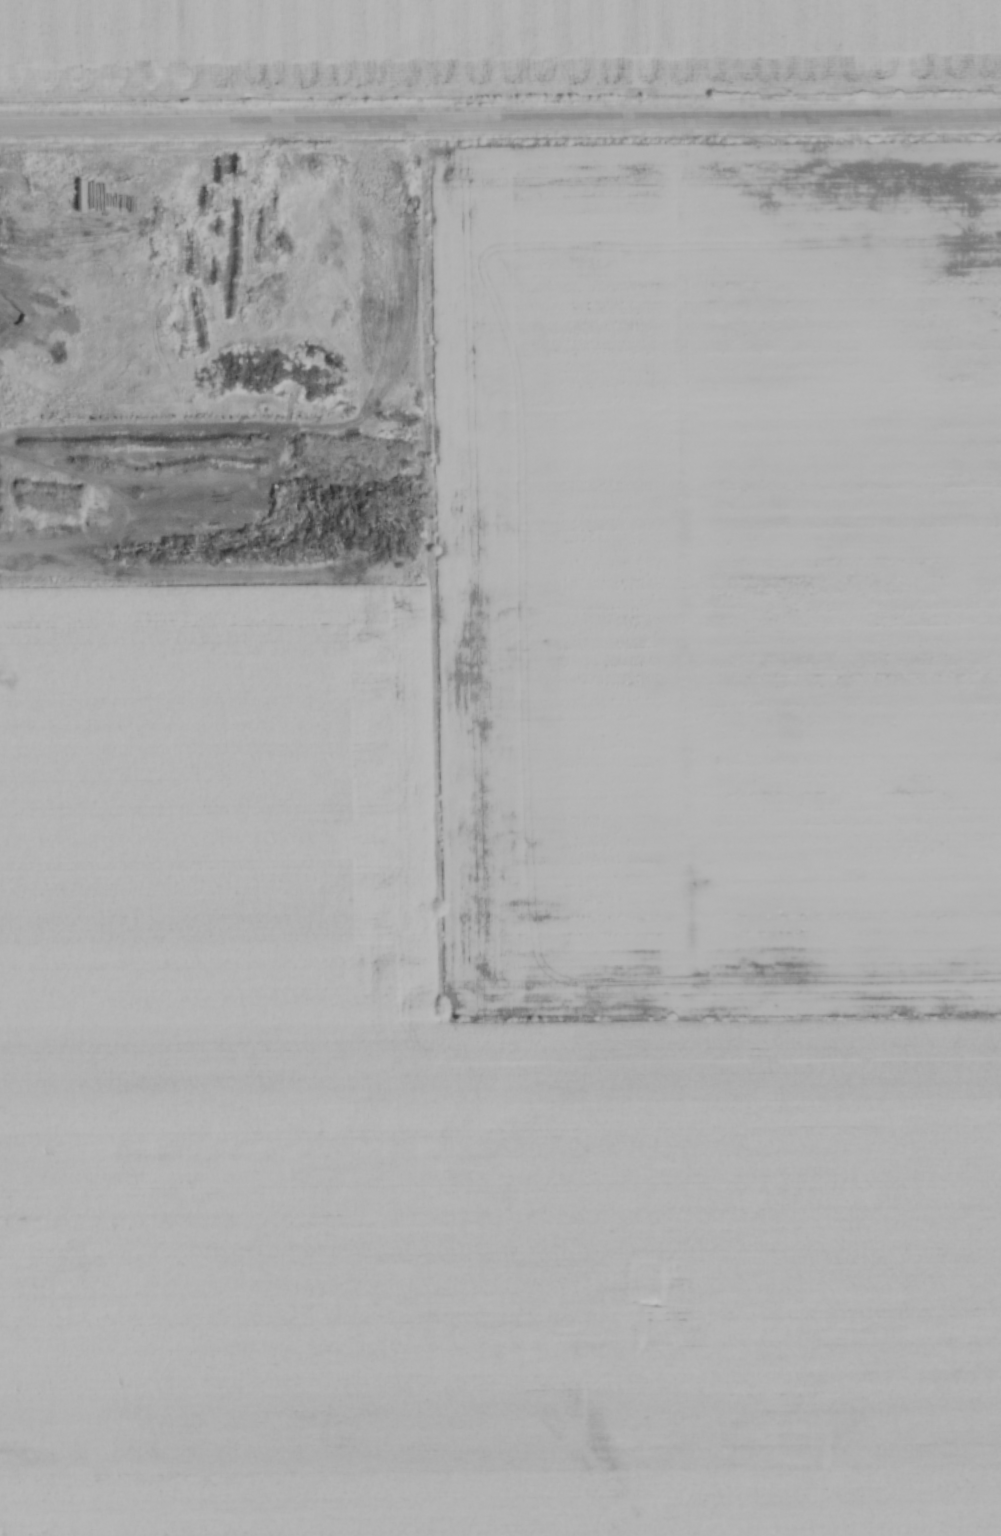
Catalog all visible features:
crop: (485, 44)
road: (500, 118)
road: (144, 394)
crop: (716, 579)
crop: (235, 697)
crop: (500, 1245)
crop: (511, 1502)

